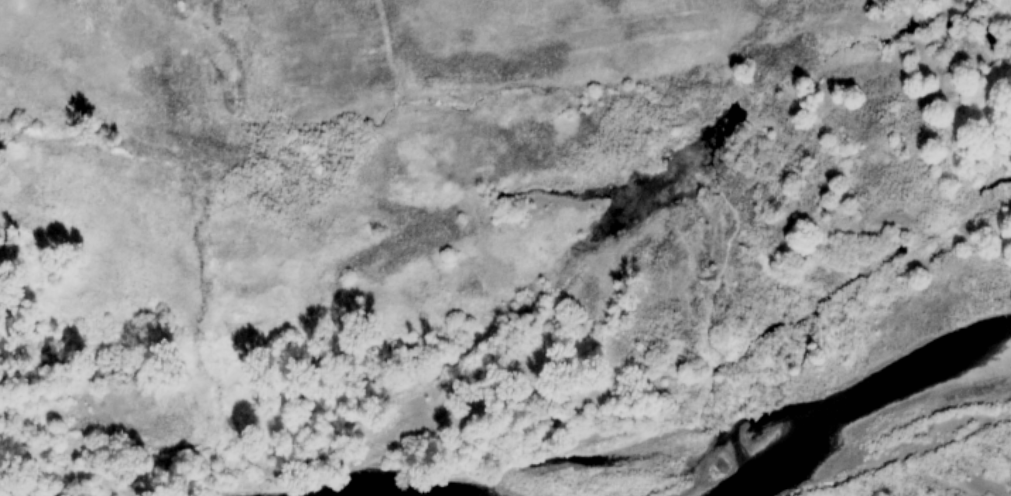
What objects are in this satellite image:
river: (832, 420)

